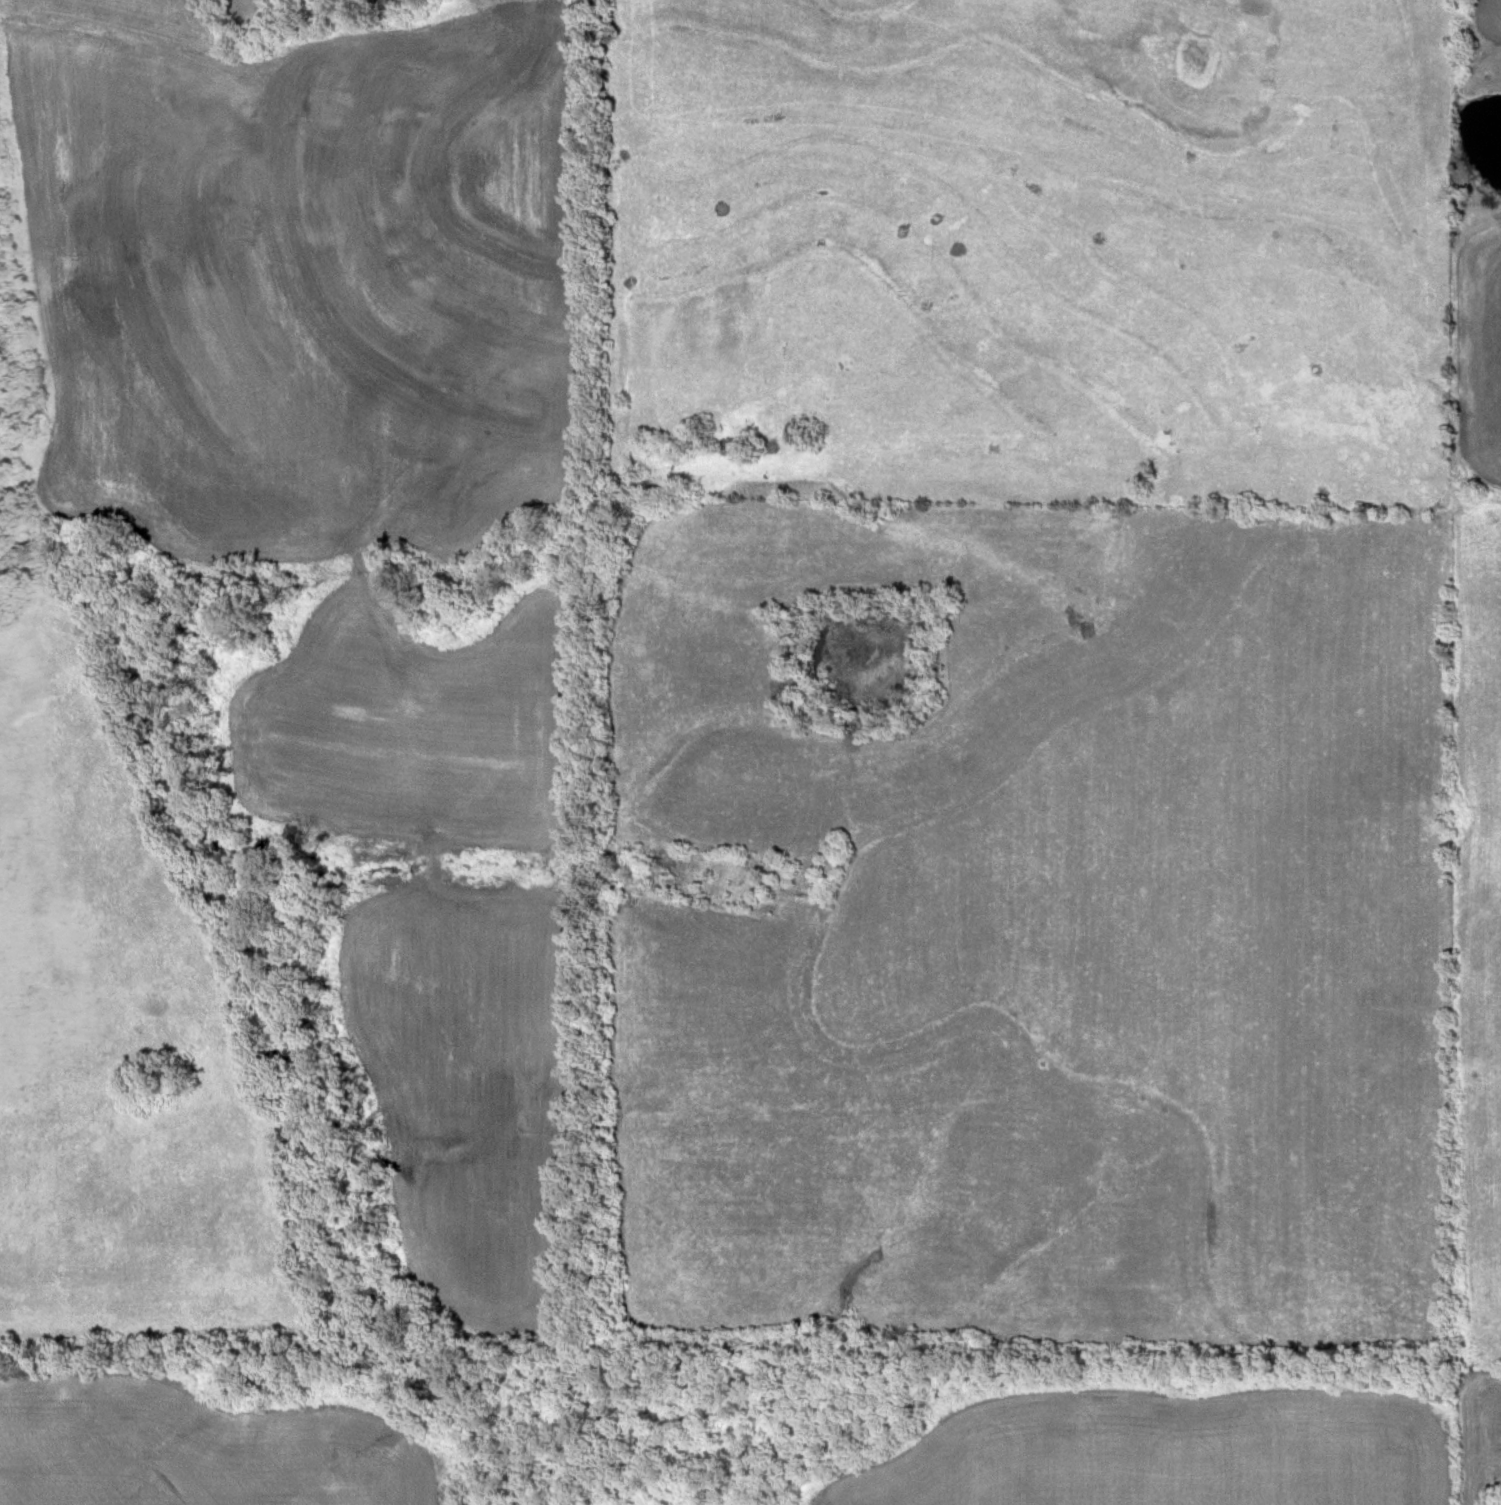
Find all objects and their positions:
road: (1489, 542)

